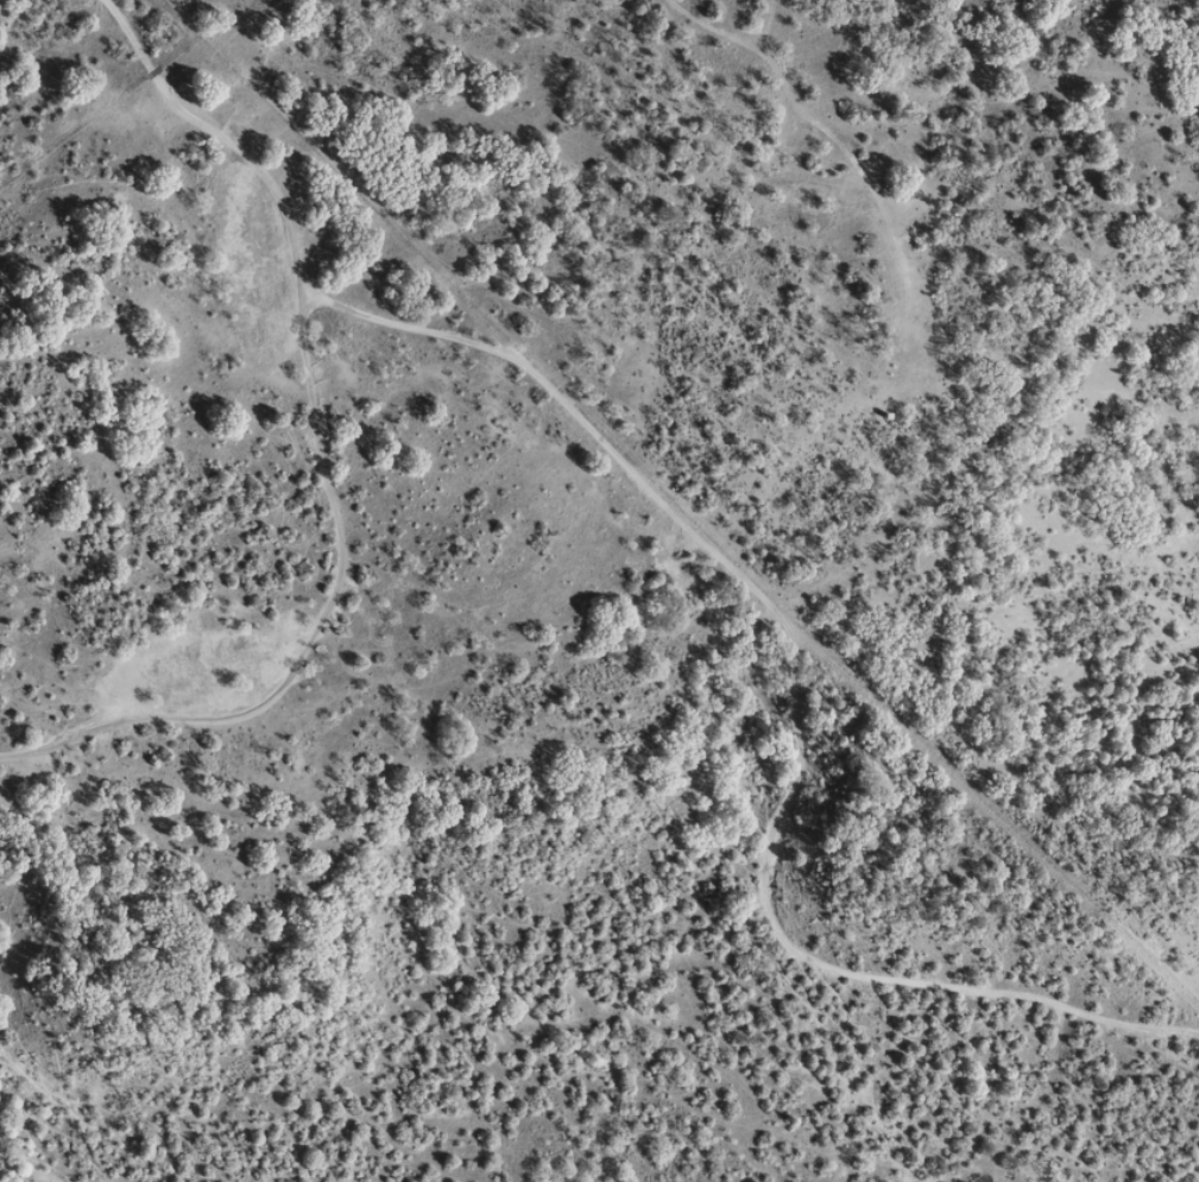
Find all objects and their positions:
road: (347, 464)

